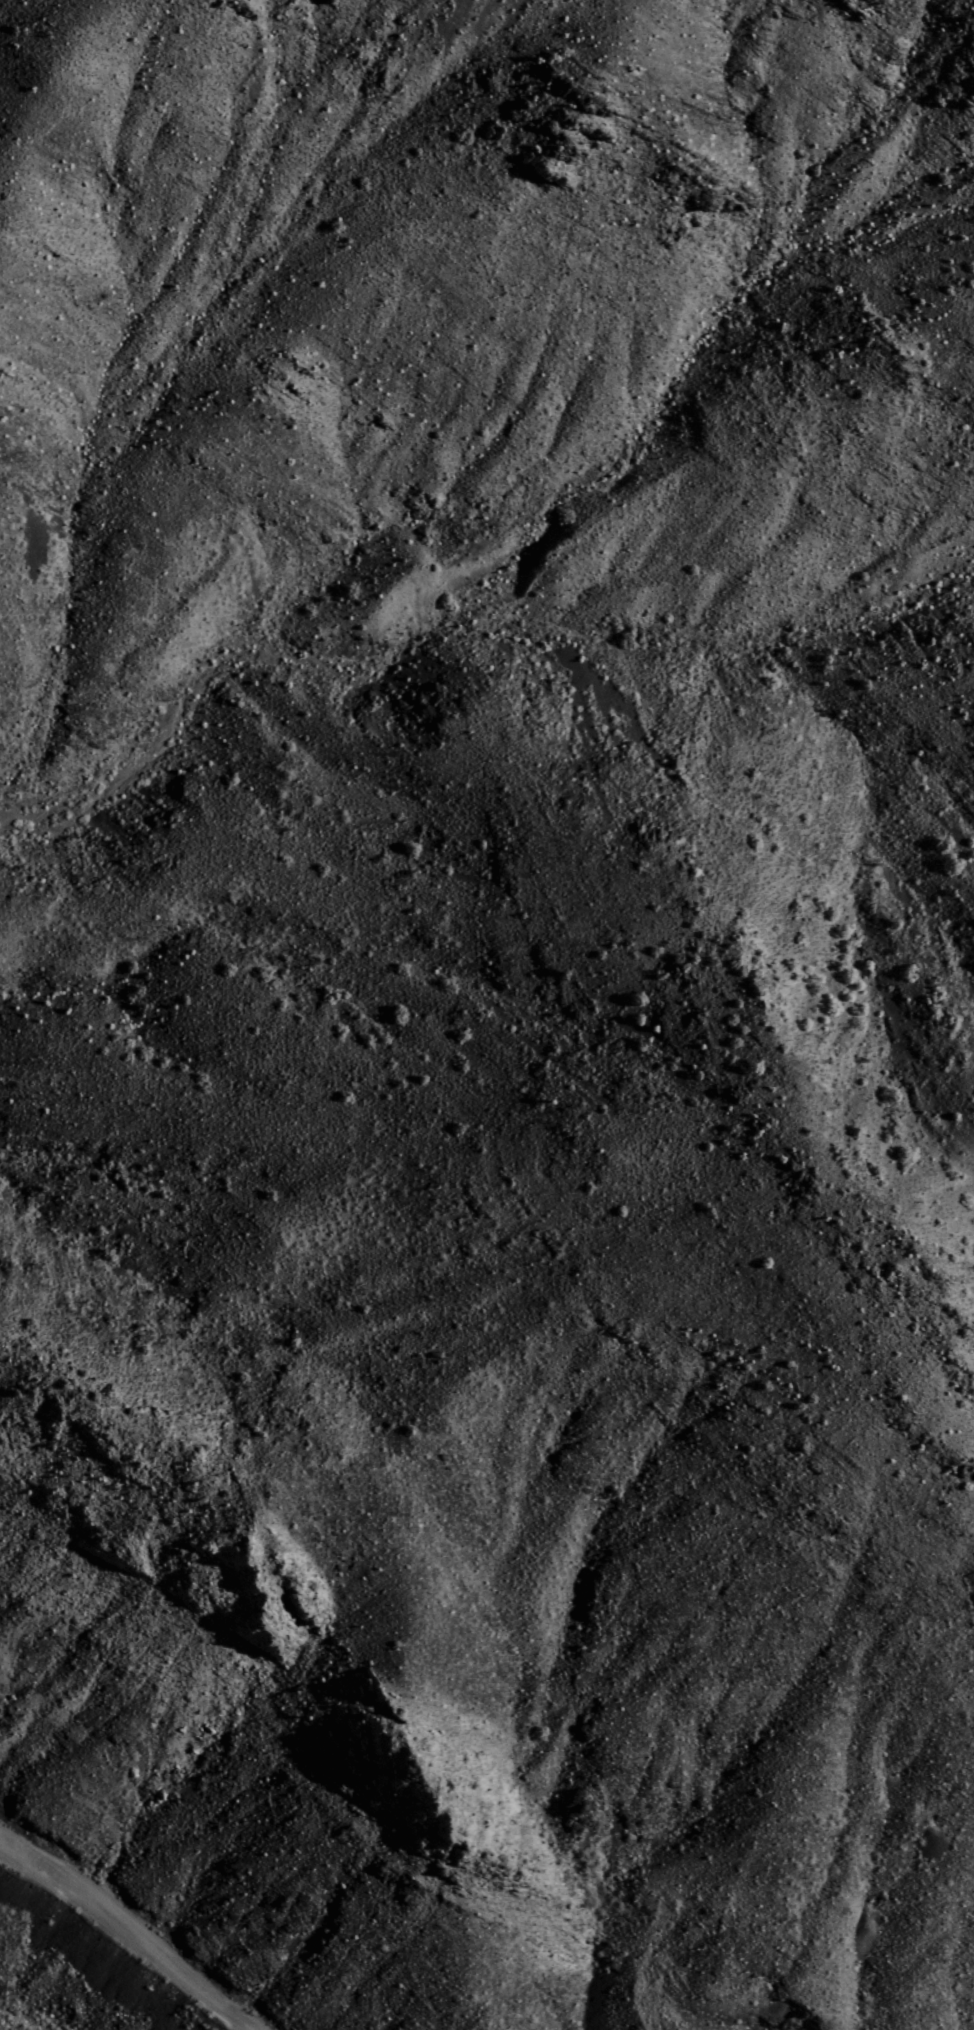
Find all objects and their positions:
quarry: (707, 1964)

